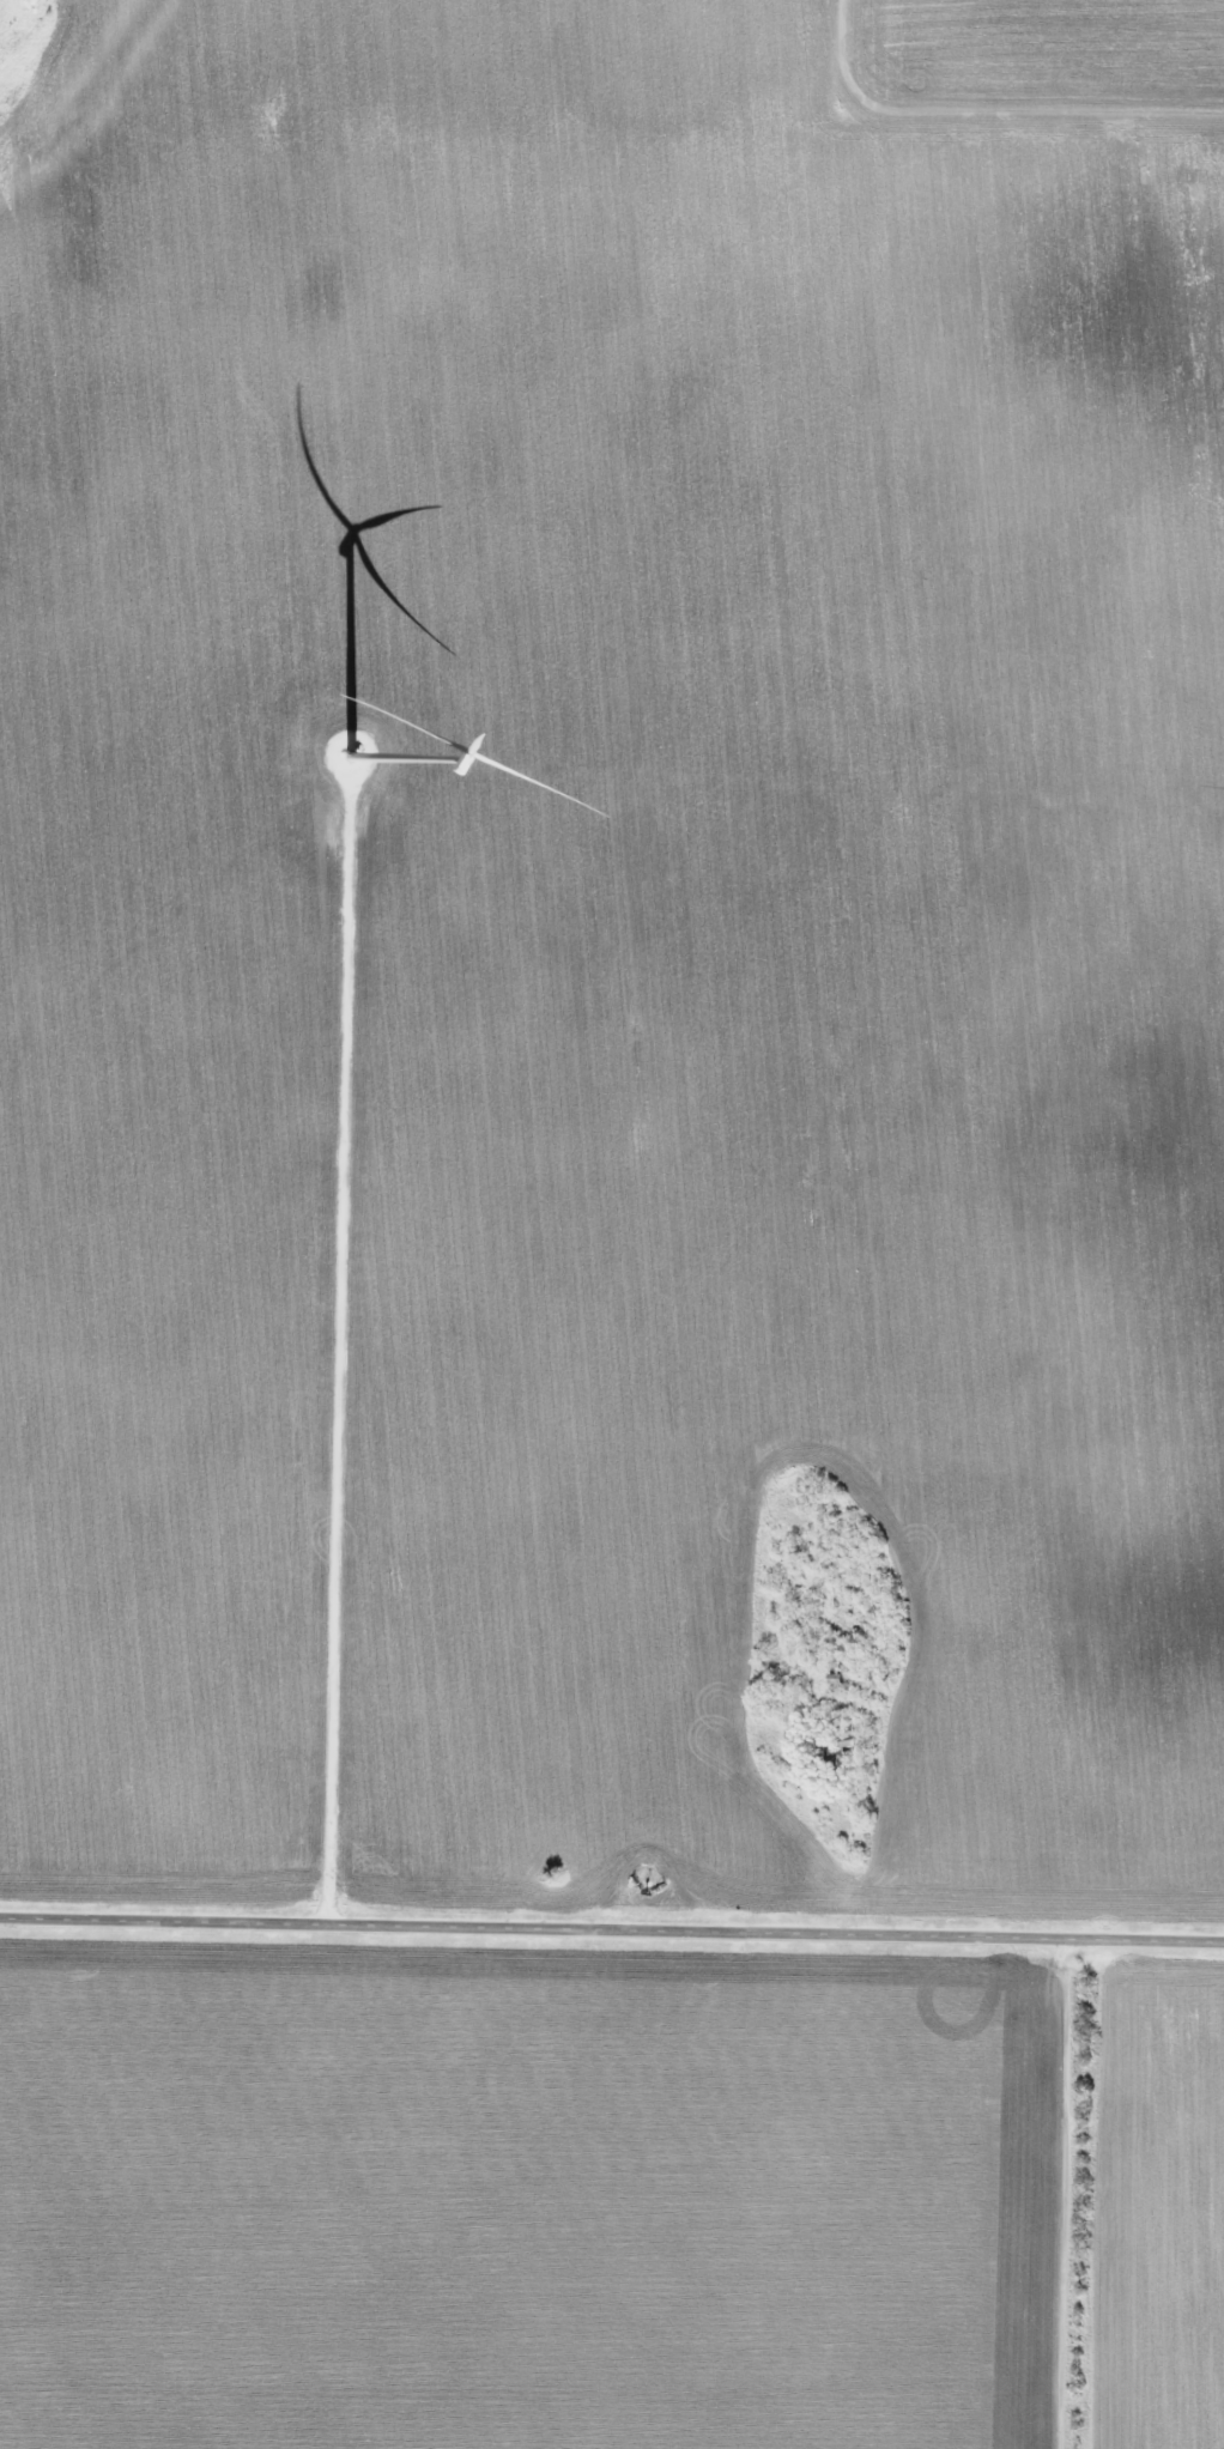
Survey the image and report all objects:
wind turbine: (349, 762)
road: (611, 1934)

